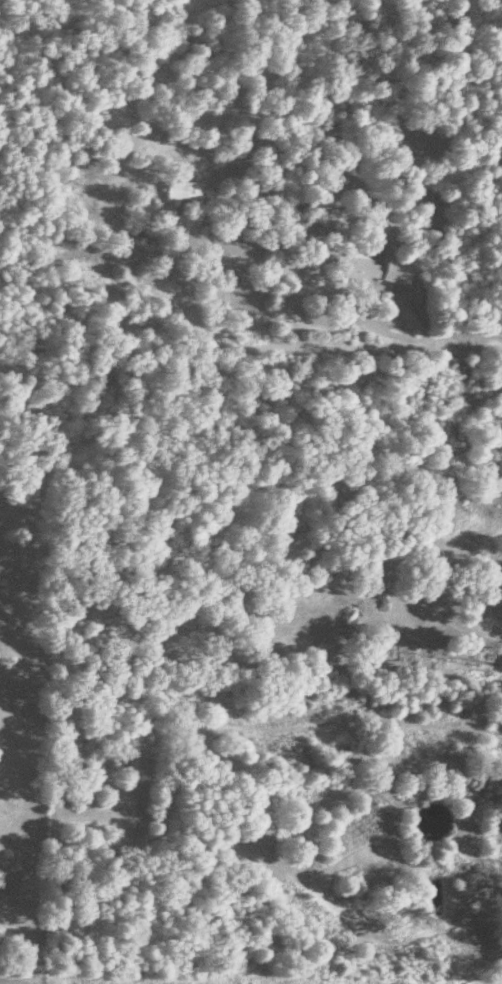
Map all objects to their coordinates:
building: (182, 192)
building: (144, 245)
building: (376, 271)
road: (212, 292)
road: (250, 341)

